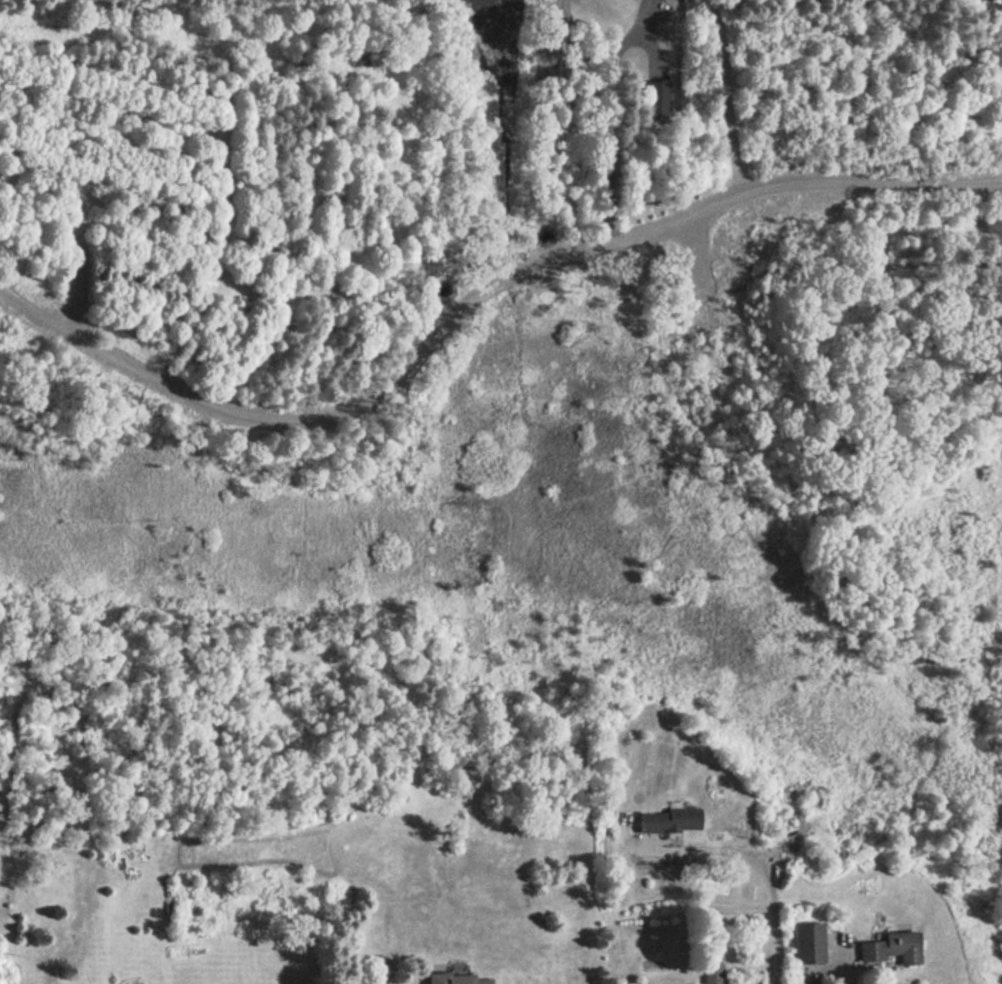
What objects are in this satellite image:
road: (480, 289)
road: (5, 294)
building: (667, 820)
road: (763, 873)
building: (807, 943)
building: (889, 948)
building: (711, 973)
building: (454, 978)

